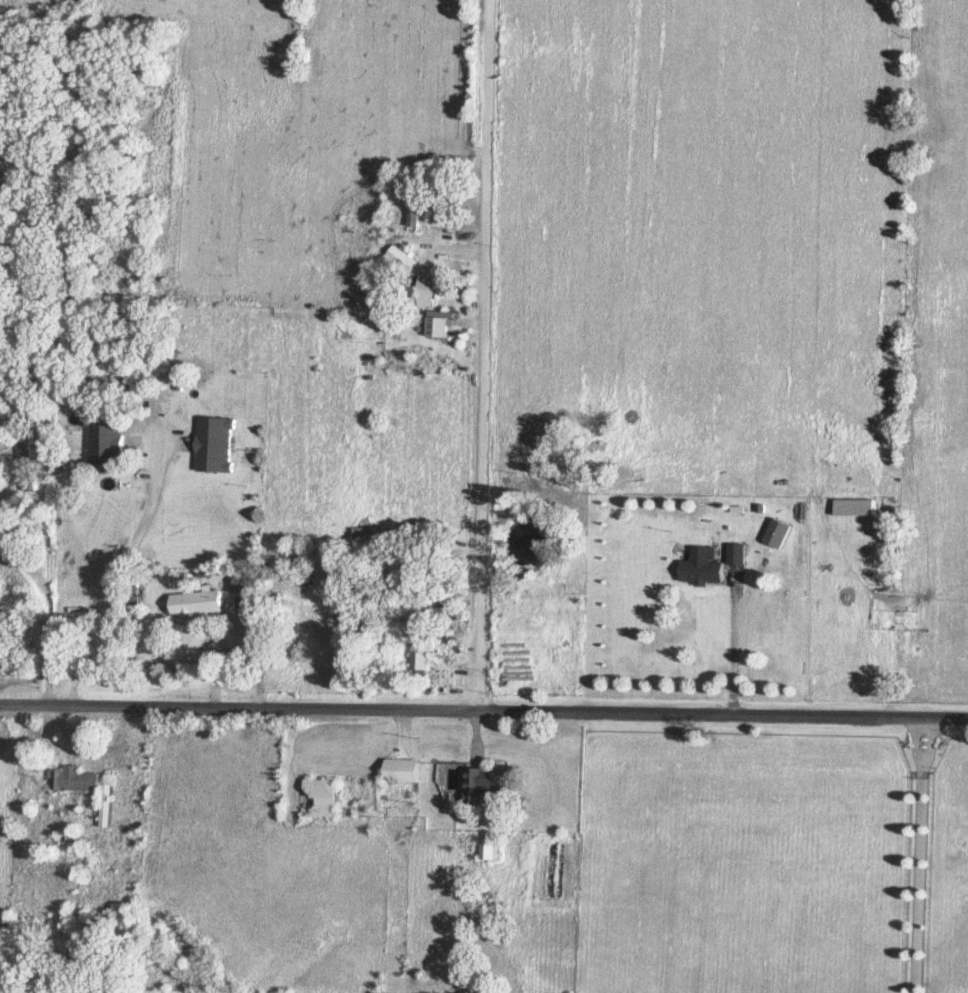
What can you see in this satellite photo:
building: (414, 203)
building: (433, 292)
building: (437, 327)
road: (477, 355)
building: (104, 443)
building: (214, 445)
building: (26, 467)
building: (853, 508)
building: (776, 534)
building: (735, 555)
road: (120, 565)
building: (702, 568)
building: (244, 582)
building: (195, 604)
road: (45, 616)
road: (736, 648)
building: (420, 655)
road: (484, 711)
building: (403, 771)
building: (74, 780)
building: (491, 782)
building: (321, 799)
building: (491, 850)
road: (913, 855)

